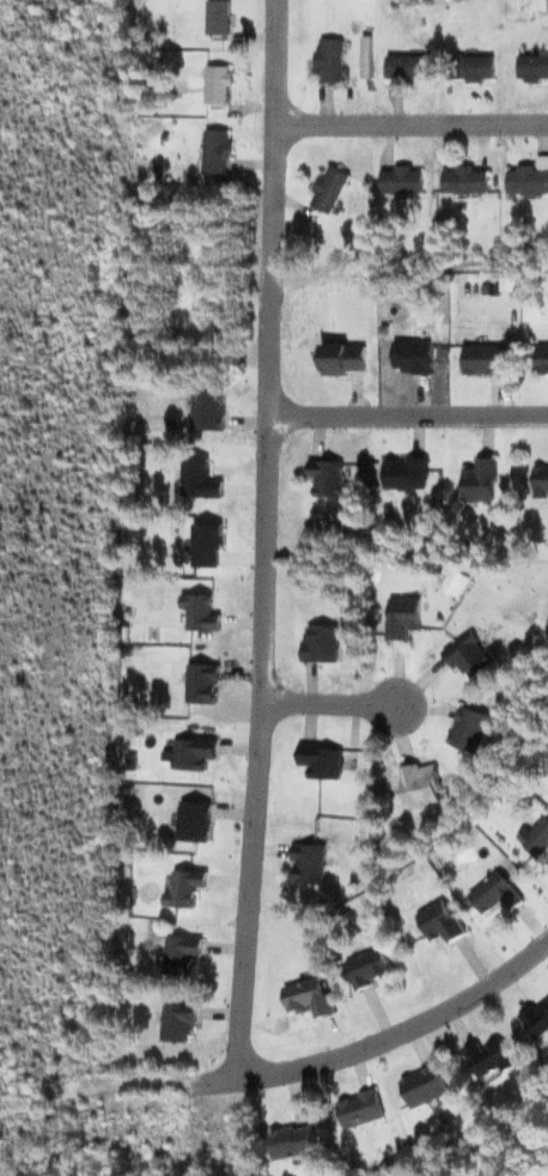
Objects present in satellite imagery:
building: (218, 18)
building: (330, 60)
building: (473, 67)
building: (534, 67)
building: (408, 68)
building: (217, 85)
road: (409, 127)
building: (218, 151)
building: (403, 180)
building: (468, 180)
building: (530, 180)
building: (331, 188)
building: (415, 357)
building: (343, 358)
building: (486, 358)
building: (542, 358)
building: (211, 410)
road: (407, 417)
building: (406, 474)
building: (329, 477)
building: (200, 479)
building: (541, 479)
building: (481, 480)
road: (263, 538)
building: (207, 545)
building: (457, 582)
building: (199, 613)
building: (403, 617)
building: (319, 643)
building: (469, 657)
building: (201, 684)
road: (331, 699)
building: (467, 731)
building: (191, 753)
building: (321, 762)
building: (418, 786)
building: (194, 822)
building: (537, 836)
building: (306, 863)
building: (185, 886)
building: (495, 893)
building: (440, 921)
building: (183, 956)
building: (369, 968)
building: (309, 996)
building: (537, 1018)
building: (178, 1020)
road: (390, 1037)
building: (488, 1057)
building: (425, 1085)
building: (361, 1109)
building: (293, 1141)

